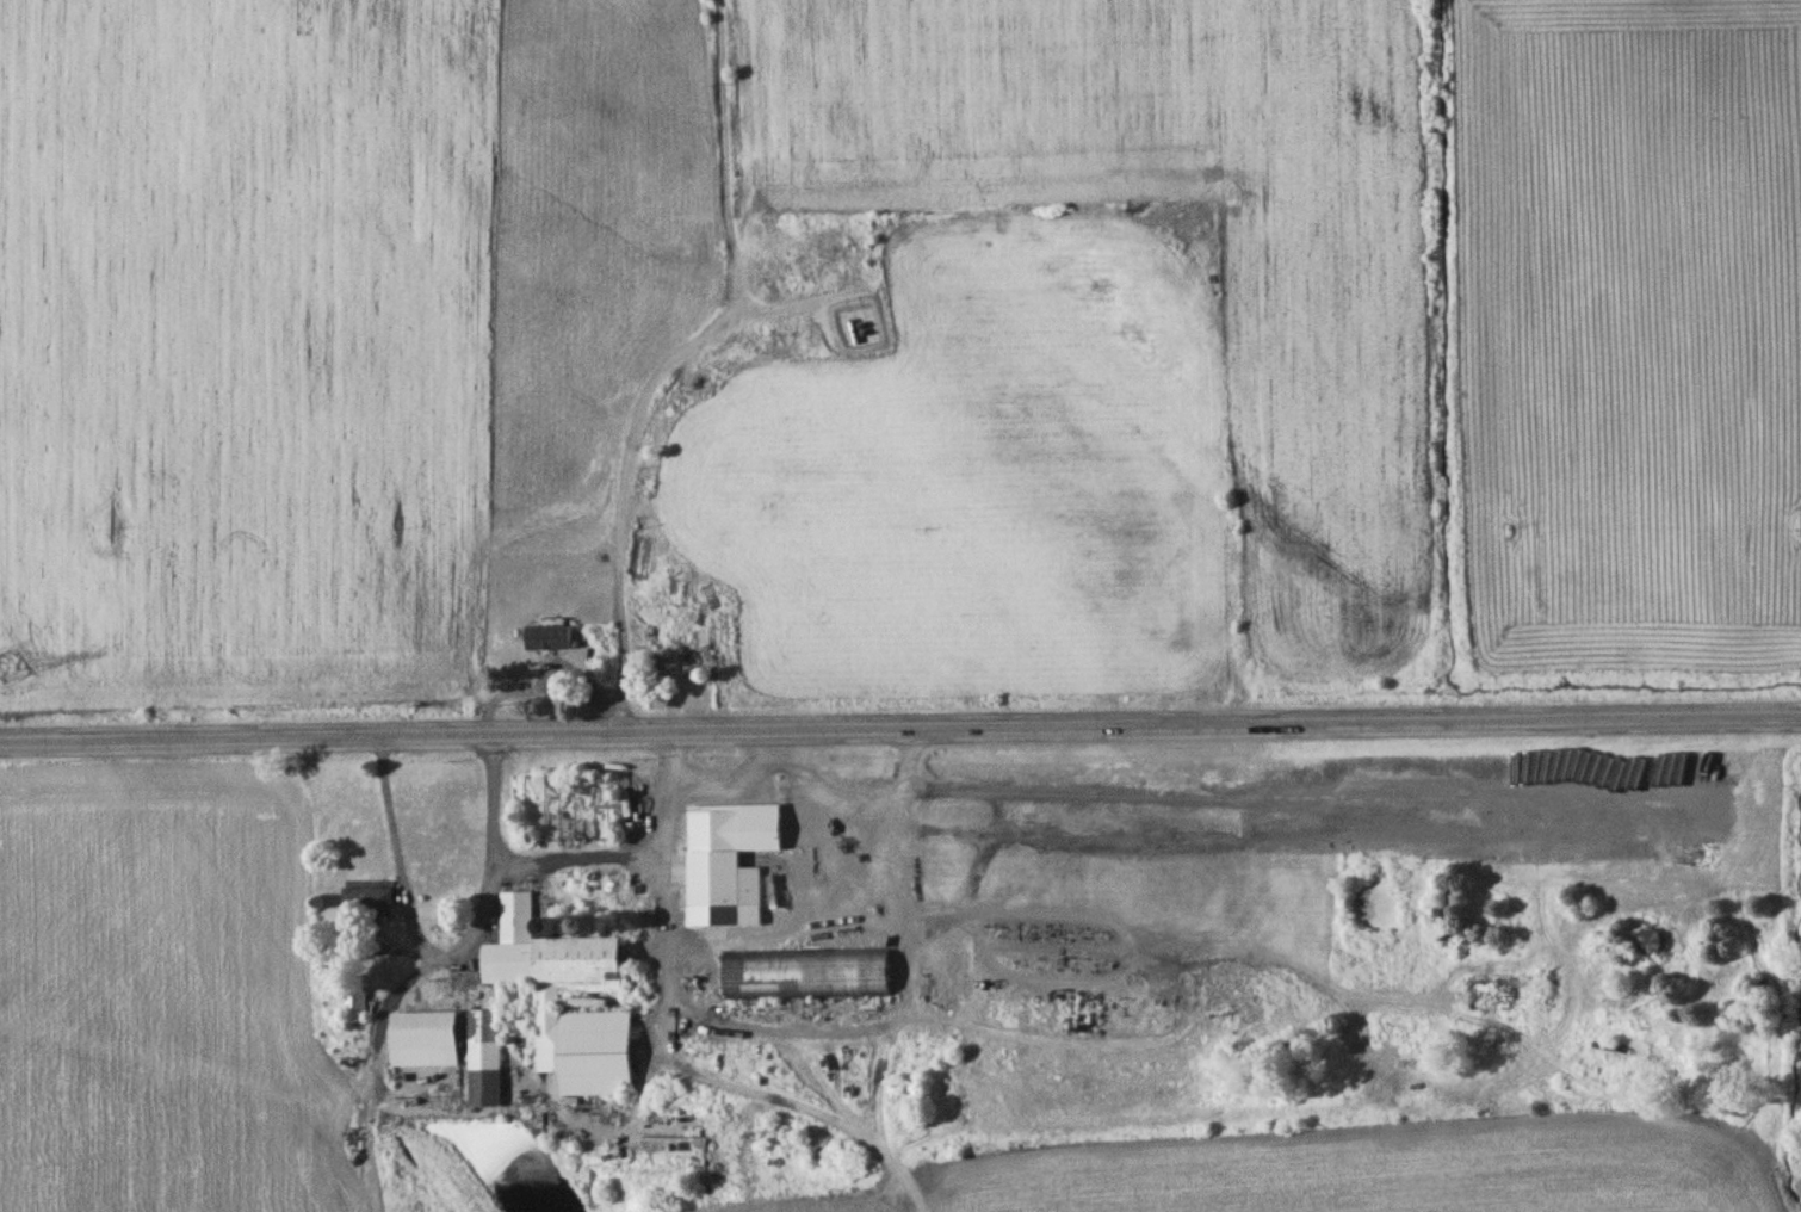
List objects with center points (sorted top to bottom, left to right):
road: (725, 157)
road: (637, 451)
building: (550, 642)
building: (681, 663)
power tower: (5, 674)
road: (547, 680)
road: (899, 730)
road: (900, 805)
road: (1706, 823)
road: (573, 859)
building: (728, 865)
building: (366, 907)
road: (703, 938)
road: (1181, 944)
building: (1650, 945)
road: (446, 958)
building: (842, 977)
building: (563, 997)
building: (354, 1010)
road: (835, 1035)
building: (423, 1043)
building: (484, 1062)

